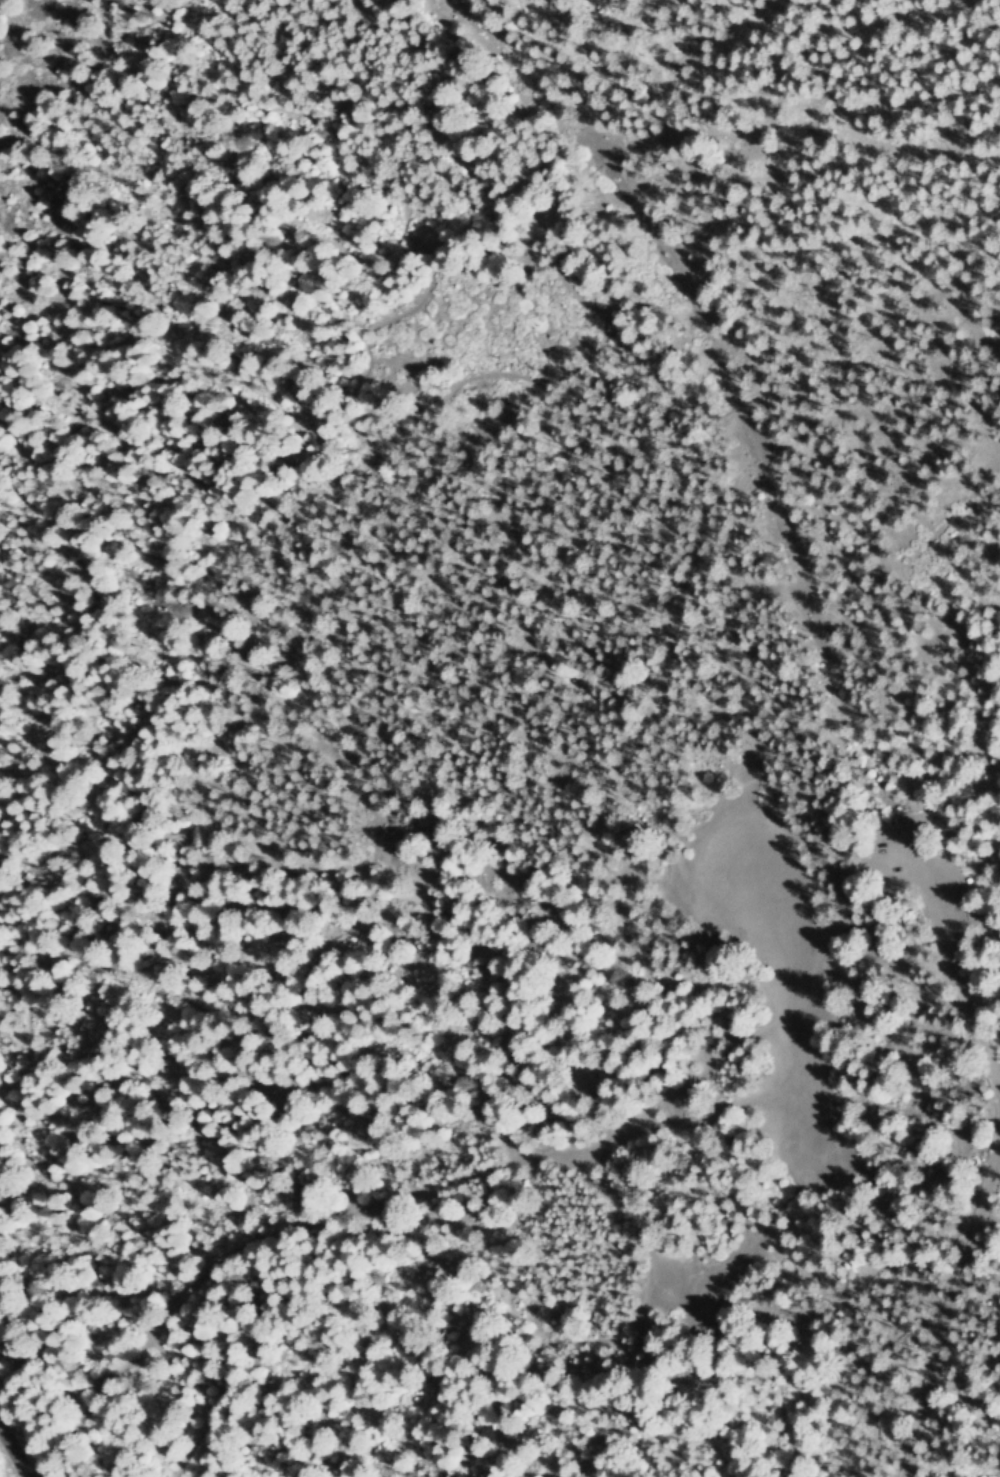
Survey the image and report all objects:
road: (774, 509)
road: (947, 1300)
road: (14, 1451)

